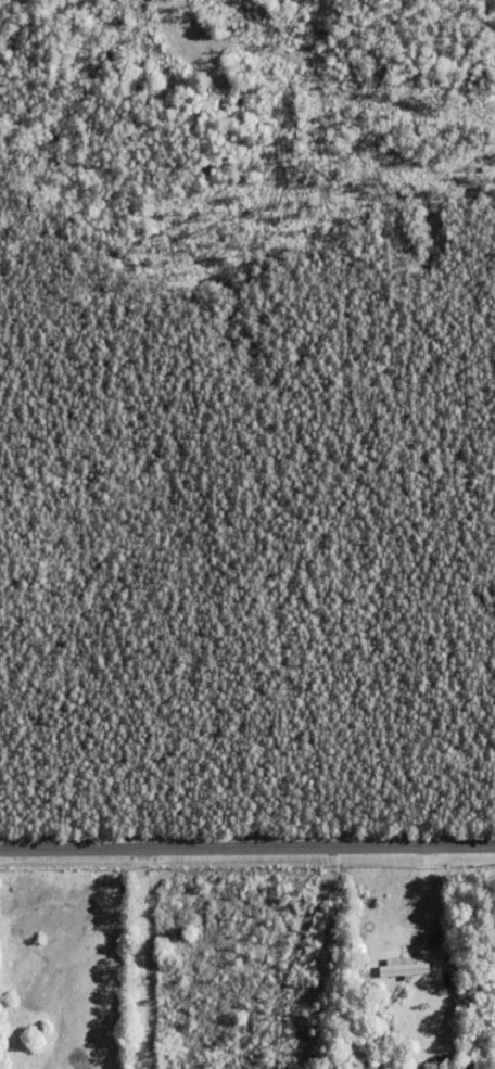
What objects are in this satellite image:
road: (247, 844)
road: (426, 895)
road: (137, 956)
building: (406, 967)
building: (426, 1056)
building: (430, 1061)

